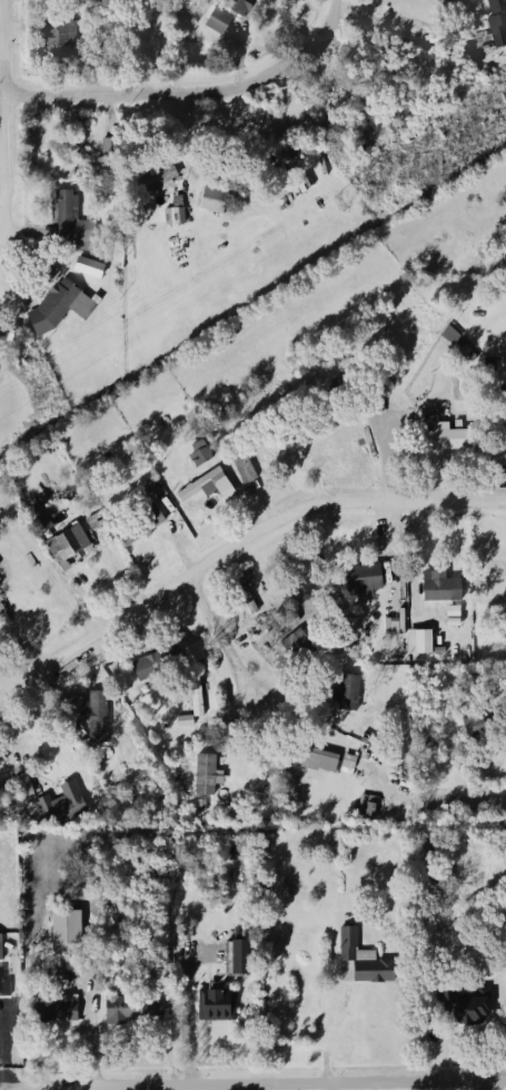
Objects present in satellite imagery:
building: (492, 19)
building: (218, 21)
road: (405, 22)
building: (58, 38)
road: (190, 92)
road: (3, 108)
building: (278, 178)
building: (306, 179)
building: (157, 180)
building: (212, 199)
power tower: (337, 206)
building: (172, 214)
building: (63, 220)
building: (89, 267)
building: (58, 307)
building: (449, 334)
building: (503, 436)
building: (440, 438)
building: (198, 453)
road: (384, 461)
building: (242, 470)
building: (206, 487)
building: (136, 526)
road: (236, 542)
building: (65, 547)
building: (359, 580)
building: (437, 588)
building: (4, 623)
road: (219, 635)
building: (417, 642)
building: (194, 652)
building: (147, 667)
building: (348, 693)
building: (196, 697)
building: (185, 720)
road: (17, 755)
building: (348, 762)
building: (205, 774)
road: (469, 801)
building: (62, 802)
building: (200, 805)
building: (67, 929)
building: (235, 959)
building: (359, 962)
building: (3, 989)
building: (215, 1006)
building: (464, 1006)
road: (189, 1010)
building: (58, 1011)
building: (127, 1014)
road: (337, 1033)
road: (252, 1084)
road: (484, 1084)
road: (92, 1088)
road: (167, 1088)
road: (6, 1089)

